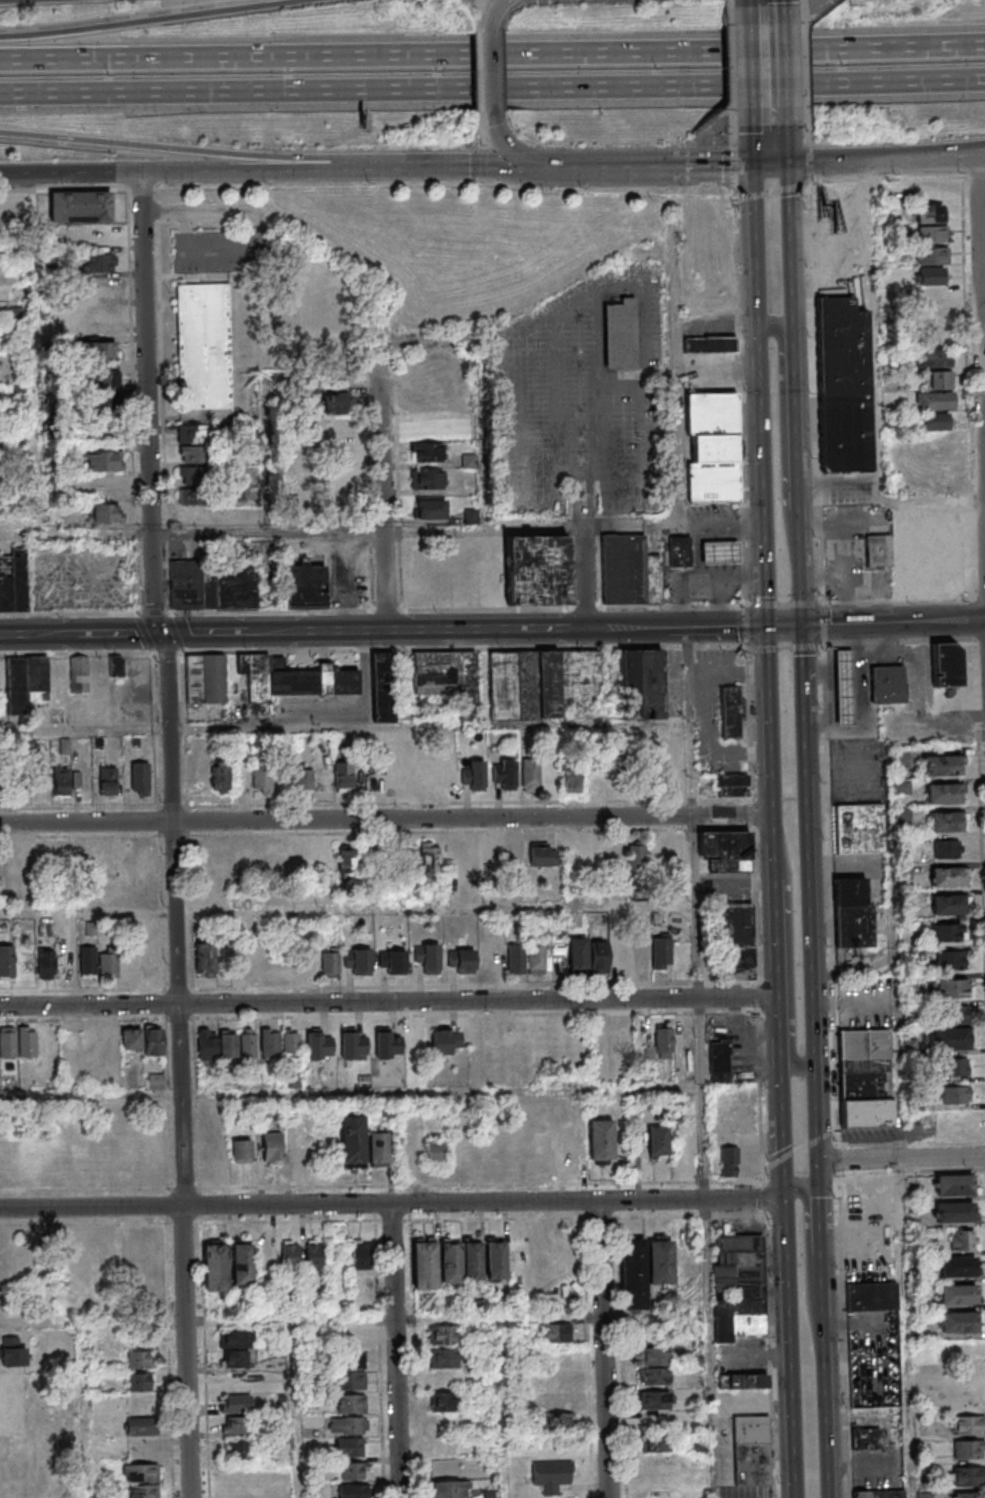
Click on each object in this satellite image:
road: (804, 2)
road: (767, 3)
road: (727, 4)
road: (496, 14)
road: (152, 20)
road: (492, 54)
road: (807, 64)
road: (770, 66)
road: (731, 67)
road: (494, 71)
road: (492, 89)
road: (733, 132)
road: (505, 143)
road: (773, 144)
road: (182, 150)
road: (954, 152)
road: (809, 153)
road: (953, 158)
road: (848, 160)
traffic signals: (774, 162)
traffic signals: (534, 165)
road: (580, 165)
road: (649, 165)
road: (723, 165)
road: (449, 166)
road: (732, 167)
road: (182, 172)
road: (885, 178)
road: (771, 191)
building: (83, 206)
building: (928, 213)
building: (932, 233)
building: (99, 236)
road: (758, 240)
road: (791, 248)
building: (932, 255)
building: (101, 263)
building: (932, 275)
road: (980, 314)
building: (619, 334)
building: (709, 344)
building: (203, 346)
building: (934, 358)
road: (720, 372)
road: (678, 376)
building: (106, 378)
building: (939, 380)
road: (489, 384)
road: (878, 384)
road: (967, 386)
road: (264, 394)
road: (738, 400)
building: (935, 401)
parking lot: (589, 402)
building: (335, 403)
building: (109, 411)
building: (845, 411)
building: (430, 421)
building: (937, 422)
road: (604, 424)
road: (785, 438)
building: (193, 443)
building: (935, 443)
building: (712, 447)
building: (427, 452)
road: (798, 454)
building: (103, 460)
building: (469, 461)
road: (765, 476)
building: (427, 479)
building: (192, 485)
road: (387, 495)
building: (430, 509)
building: (104, 513)
road: (460, 528)
road: (77, 536)
building: (722, 551)
building: (682, 552)
building: (919, 554)
building: (536, 570)
building: (629, 571)
road: (584, 577)
building: (213, 585)
building: (305, 586)
road: (801, 595)
road: (897, 599)
road: (783, 605)
road: (893, 622)
road: (823, 623)
road: (747, 625)
traffic signals: (770, 626)
road: (786, 626)
traffic signals: (802, 626)
road: (385, 631)
traffic signals: (159, 634)
road: (785, 647)
building: (117, 665)
building: (946, 665)
building: (79, 674)
building: (205, 678)
building: (294, 678)
building: (448, 679)
building: (25, 681)
building: (542, 683)
building: (641, 684)
building: (890, 684)
road: (804, 685)
building: (383, 687)
building: (846, 687)
building: (730, 711)
road: (772, 720)
road: (692, 721)
road: (751, 725)
road: (346, 726)
building: (900, 759)
building: (942, 765)
building: (678, 772)
building: (504, 774)
building: (530, 774)
building: (220, 775)
building: (343, 775)
building: (473, 776)
building: (76, 778)
building: (140, 778)
building: (571, 778)
building: (261, 779)
building: (303, 779)
building: (61, 780)
building: (108, 780)
building: (732, 785)
building: (901, 787)
building: (943, 793)
road: (753, 815)
road: (387, 819)
building: (947, 821)
building: (858, 829)
road: (176, 833)
road: (776, 843)
building: (947, 848)
building: (511, 850)
building: (725, 850)
building: (491, 854)
building: (630, 854)
building: (540, 855)
building: (430, 857)
building: (263, 859)
building: (284, 860)
building: (346, 860)
building: (23, 865)
building: (947, 876)
road: (831, 895)
road: (699, 905)
road: (757, 905)
building: (947, 905)
road: (811, 906)
road: (349, 909)
building: (855, 914)
building: (949, 933)
building: (738, 941)
road: (791, 952)
building: (578, 954)
building: (651, 954)
building: (609, 956)
building: (428, 957)
building: (205, 958)
building: (515, 958)
building: (536, 958)
building: (88, 959)
building: (358, 960)
building: (392, 961)
building: (461, 961)
building: (950, 961)
building: (7, 962)
building: (46, 963)
building: (309, 963)
building: (330, 963)
building: (109, 964)
road: (780, 975)
building: (947, 988)
road: (760, 997)
road: (390, 1000)
road: (844, 1000)
building: (955, 1016)
building: (131, 1038)
building: (952, 1038)
building: (622, 1039)
building: (153, 1040)
building: (445, 1040)
building: (27, 1041)
building: (7, 1042)
building: (269, 1043)
building: (291, 1043)
building: (353, 1043)
building: (662, 1043)
building: (207, 1044)
building: (228, 1044)
building: (248, 1044)
building: (387, 1044)
building: (415, 1044)
building: (319, 1045)
building: (718, 1062)
building: (957, 1068)
building: (866, 1079)
road: (351, 1092)
building: (958, 1094)
road: (784, 1095)
road: (704, 1098)
road: (762, 1098)
road: (817, 1113)
road: (785, 1131)
road: (836, 1132)
road: (821, 1138)
building: (603, 1139)
building: (355, 1141)
building: (658, 1141)
building: (272, 1148)
building: (377, 1148)
road: (803, 1148)
building: (242, 1151)
building: (433, 1153)
road: (783, 1158)
road: (840, 1158)
road: (902, 1159)
traffic signals: (819, 1160)
building: (729, 1161)
road: (768, 1166)
road: (787, 1173)
road: (820, 1179)
building: (955, 1185)
road: (383, 1186)
traffic signals: (788, 1186)
road: (767, 1198)
building: (869, 1198)
traffic signals: (788, 1199)
road: (394, 1204)
building: (955, 1211)
road: (821, 1215)
road: (383, 1220)
building: (964, 1240)
road: (822, 1243)
building: (314, 1255)
building: (360, 1255)
building: (130, 1256)
building: (290, 1256)
building: (107, 1257)
building: (154, 1258)
building: (498, 1261)
building: (242, 1262)
building: (475, 1262)
building: (663, 1262)
building: (453, 1263)
building: (427, 1265)
road: (811, 1265)
building: (958, 1266)
building: (215, 1267)
building: (637, 1274)
road: (907, 1277)
building: (958, 1294)
building: (867, 1297)
road: (450, 1319)
building: (960, 1321)
road: (94, 1322)
building: (739, 1327)
building: (556, 1332)
road: (845, 1334)
building: (445, 1335)
building: (239, 1339)
road: (793, 1348)
road: (607, 1349)
road: (712, 1349)
road: (398, 1351)
building: (12, 1352)
road: (769, 1354)
building: (654, 1356)
building: (446, 1358)
building: (239, 1359)
building: (143, 1360)
building: (654, 1376)
road: (826, 1376)
building: (560, 1378)
building: (354, 1380)
building: (145, 1382)
building: (559, 1400)
building: (655, 1400)
building: (962, 1401)
building: (444, 1402)
building: (236, 1403)
building: (353, 1404)
road: (505, 1408)
road: (297, 1409)
road: (88, 1410)
building: (560, 1422)
building: (231, 1425)
building: (351, 1425)
building: (969, 1425)
building: (144, 1427)
building: (865, 1438)
building: (655, 1443)
building: (353, 1447)
building: (969, 1448)
building: (238, 1449)
building: (751, 1450)
building: (356, 1470)
building: (145, 1473)
building: (552, 1475)
building: (967, 1476)
building: (451, 1489)
building: (146, 1491)
building: (356, 1491)
building: (862, 1494)
building: (967, 1495)

